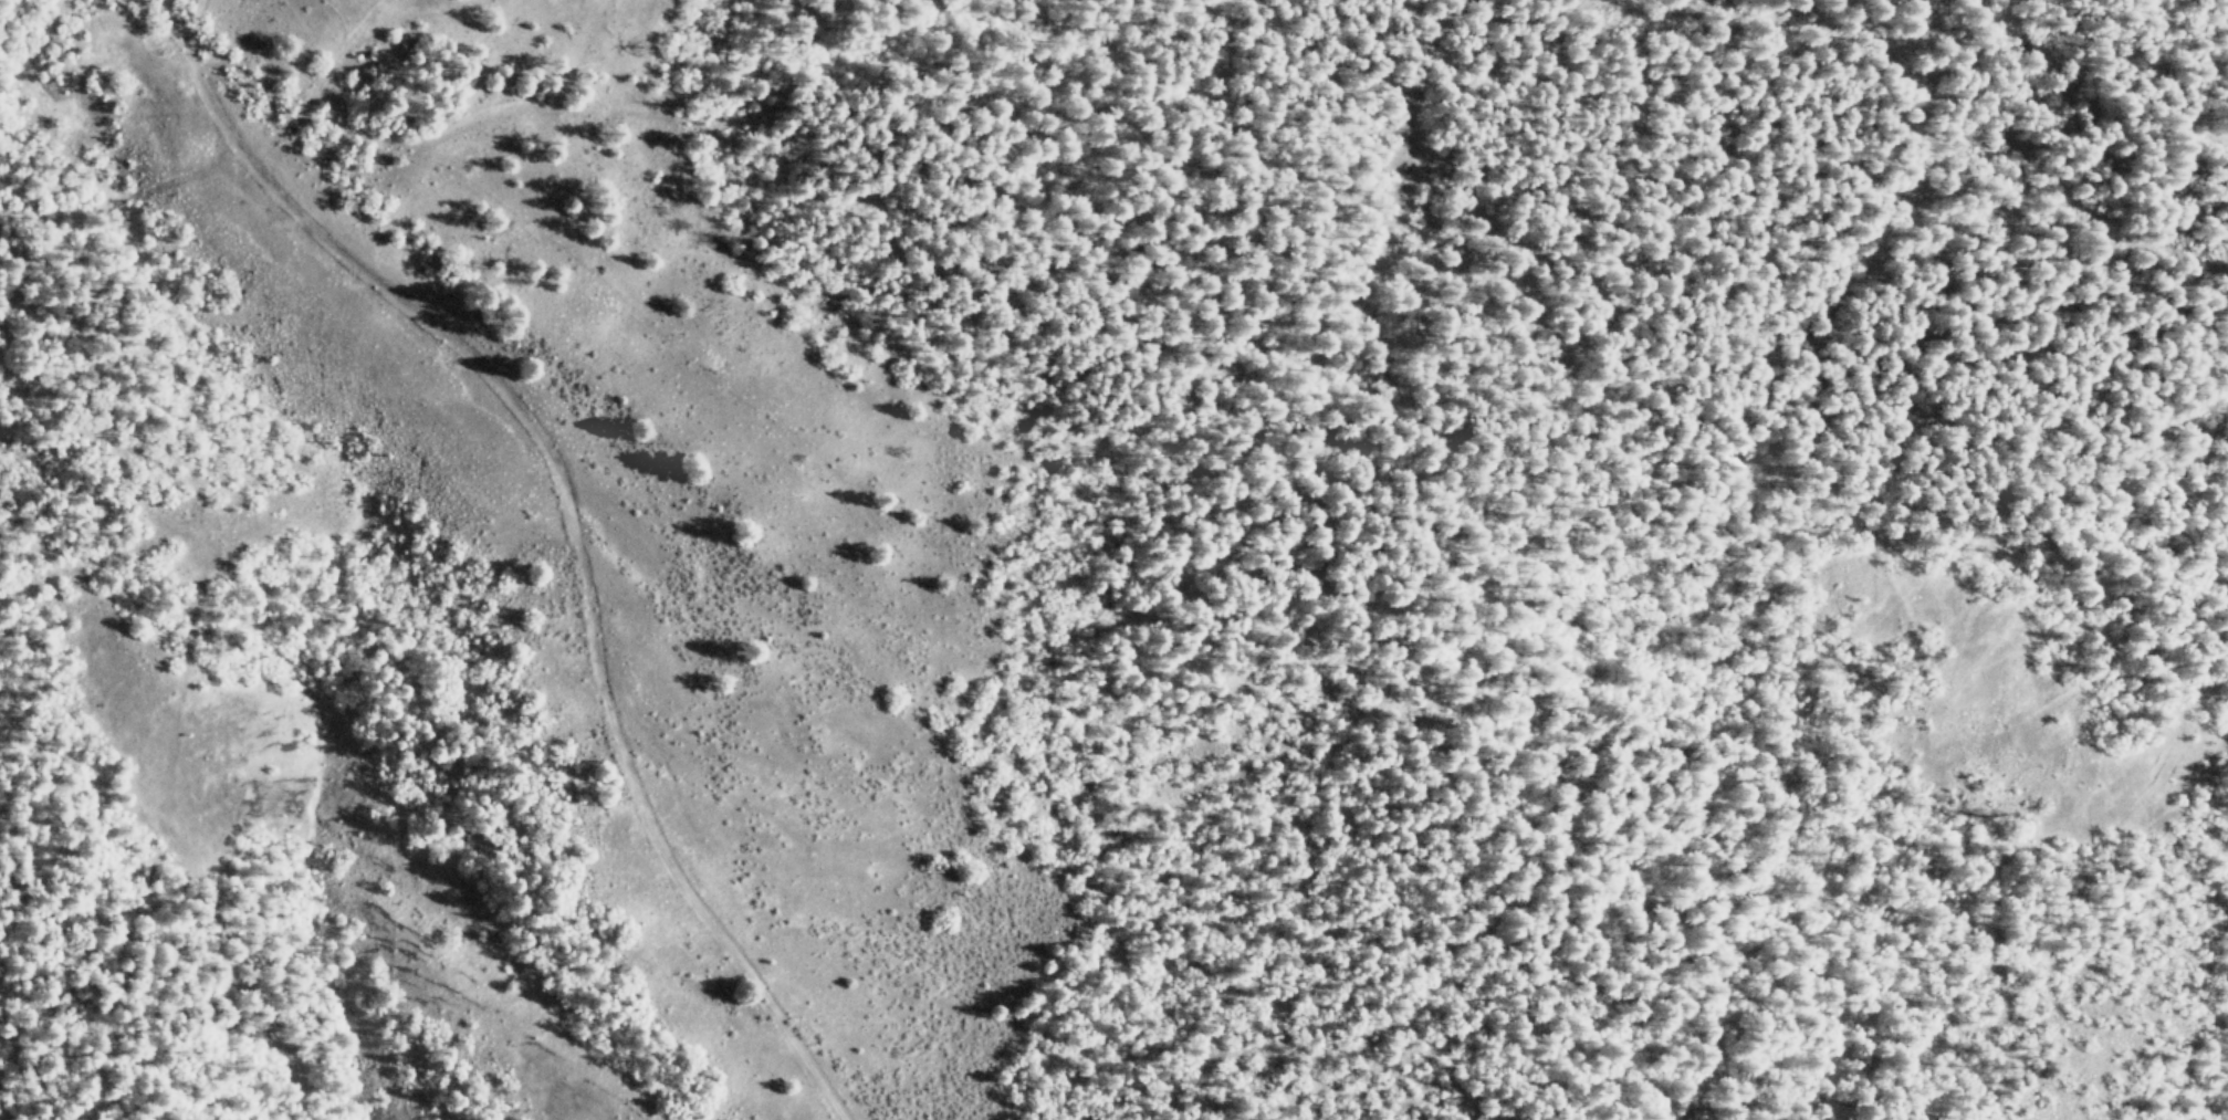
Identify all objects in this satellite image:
building: (1479, 1117)

